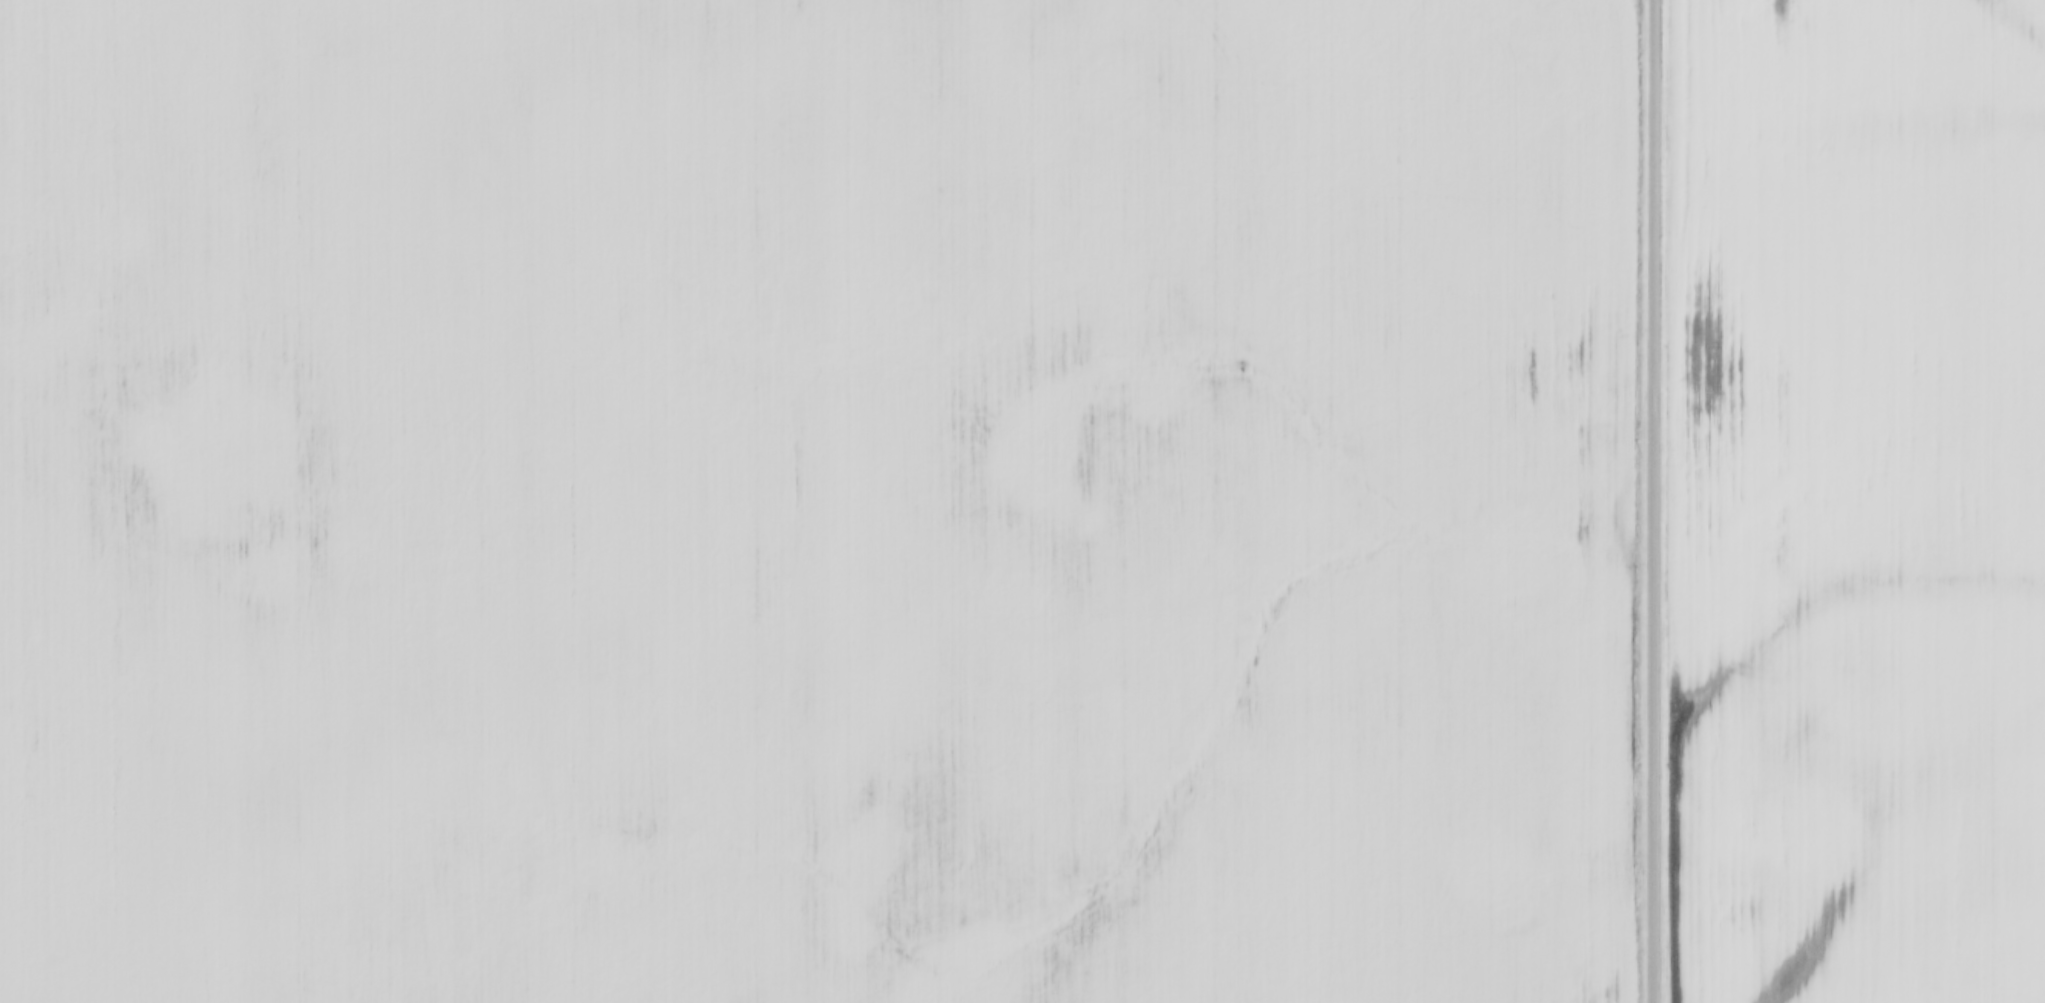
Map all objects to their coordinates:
road: (1656, 501)

